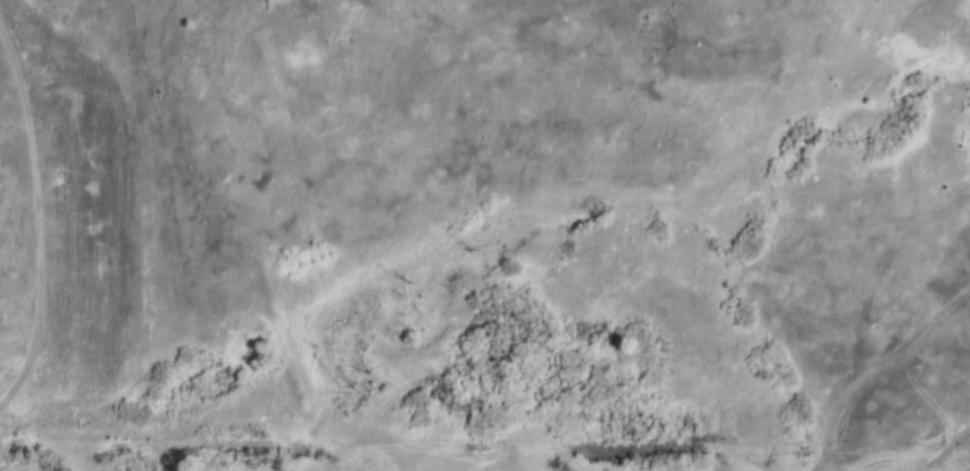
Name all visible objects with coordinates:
road: (289, 149)
road: (113, 186)
road: (767, 191)
road: (112, 295)

